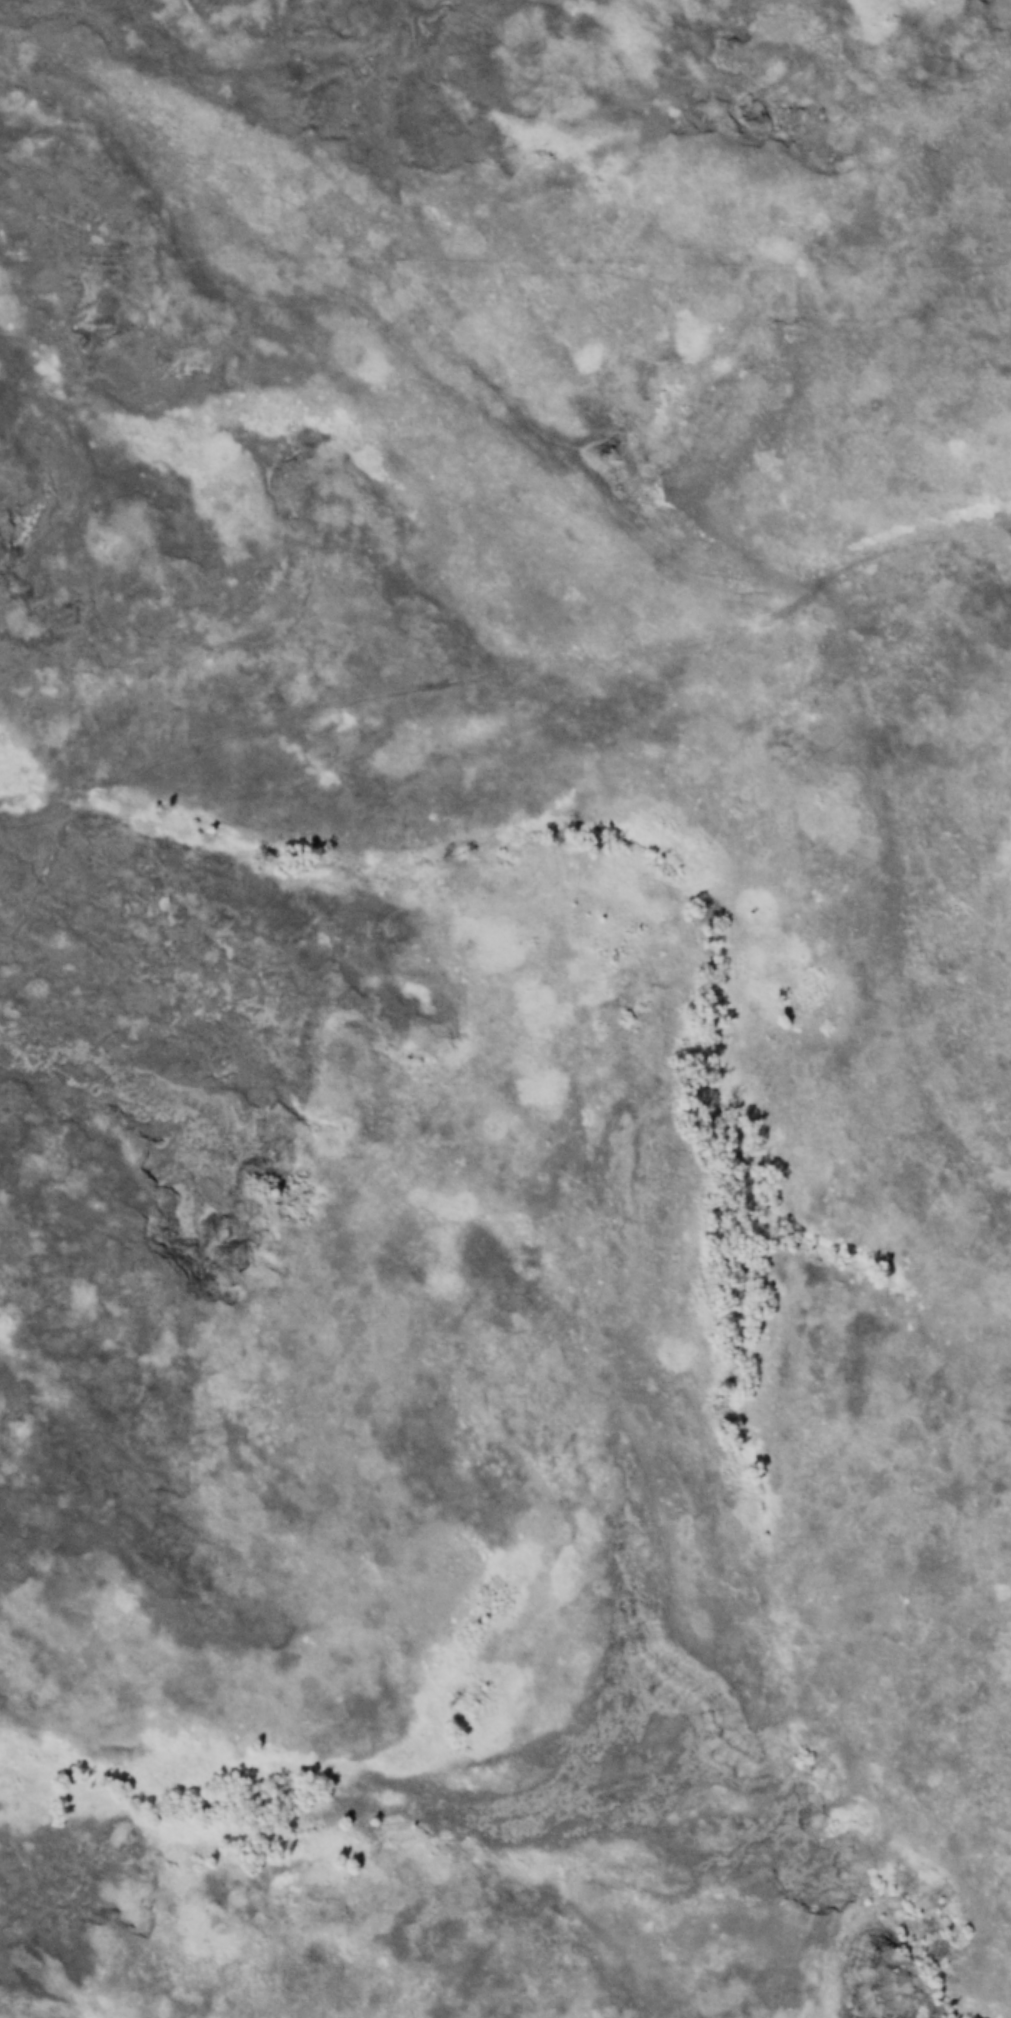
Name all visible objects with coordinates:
road: (471, 678)

